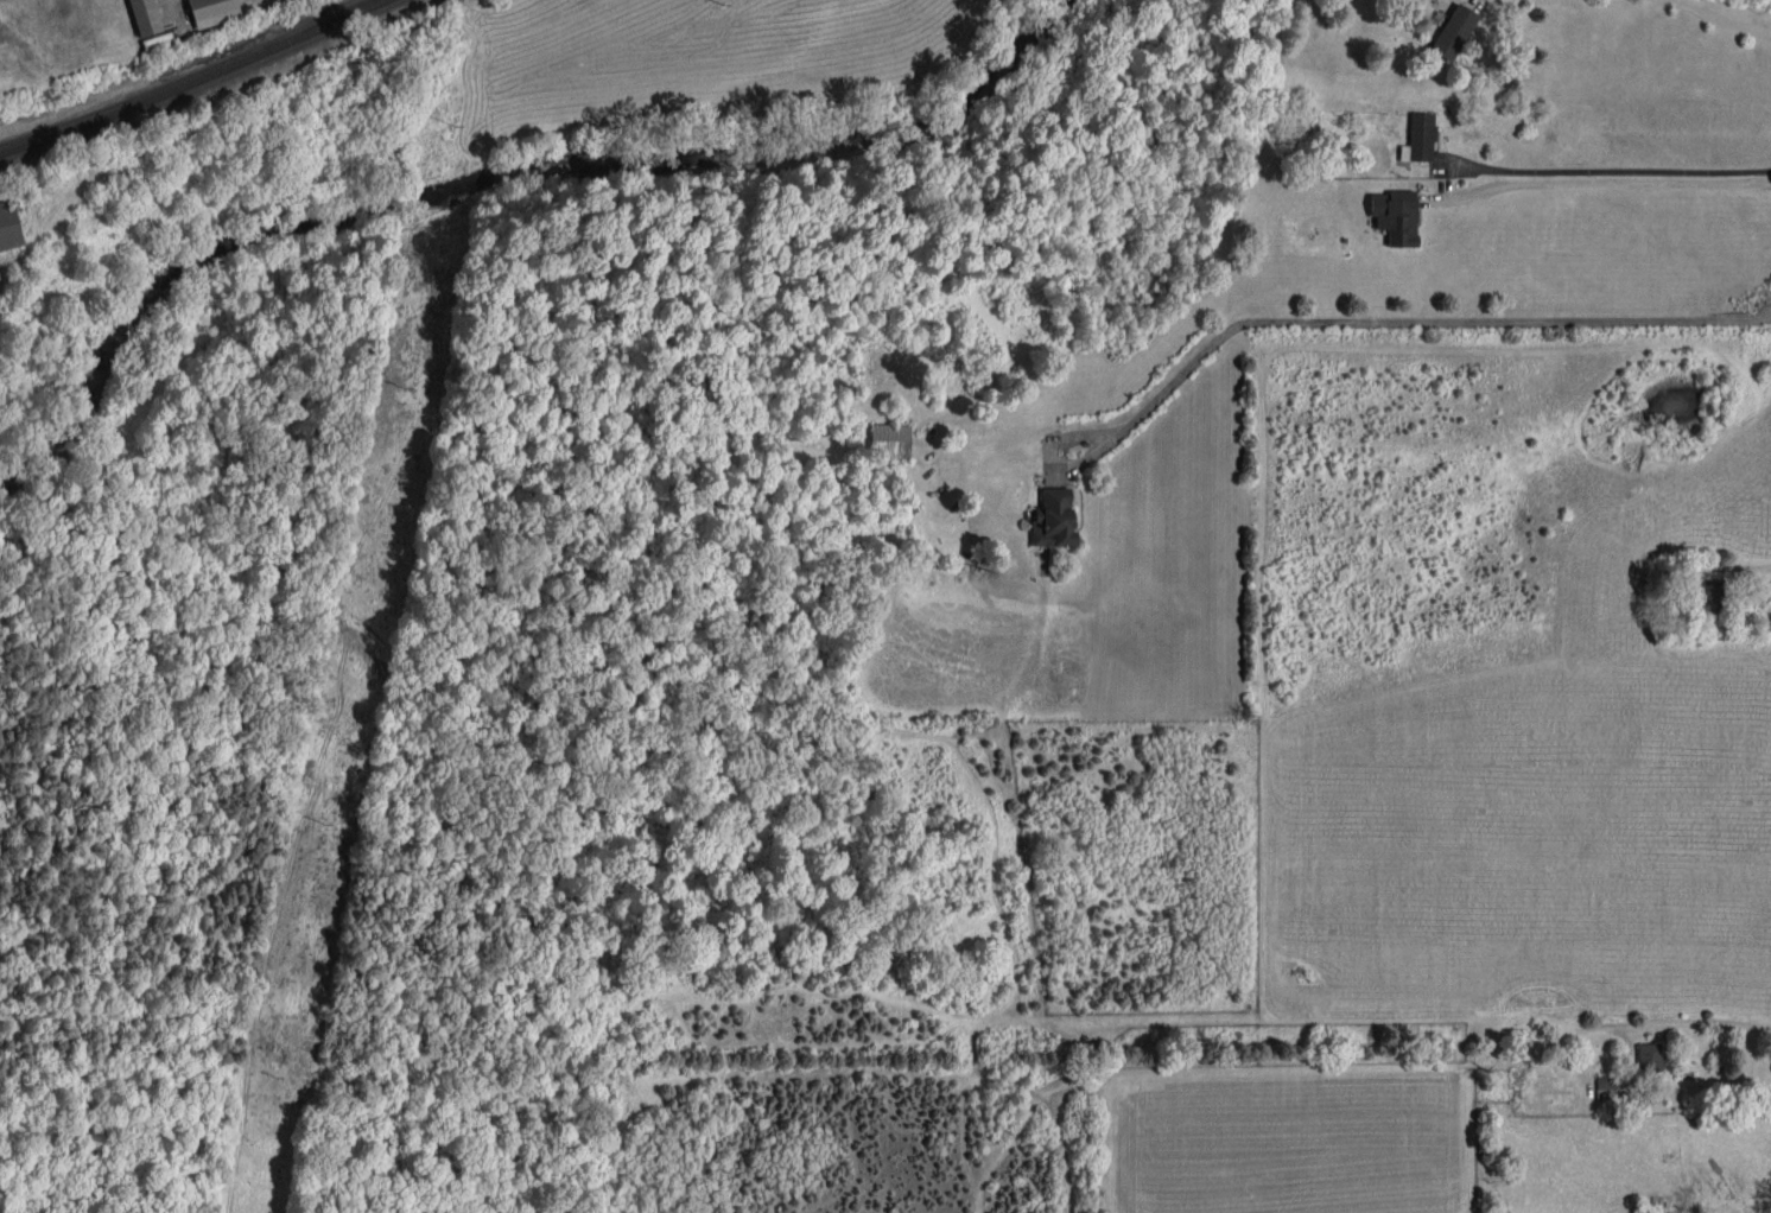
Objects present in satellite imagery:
building: (212, 11)
building: (145, 17)
road: (1725, 19)
building: (1453, 31)
railway: (197, 84)
building: (1418, 136)
road: (1611, 169)
road: (1605, 180)
building: (1395, 215)
building: (9, 227)
road: (1418, 322)
building: (889, 439)
road: (1054, 455)
building: (1053, 517)
building: (1714, 595)
road: (1697, 1022)
building: (1649, 1056)
building: (1605, 1086)

